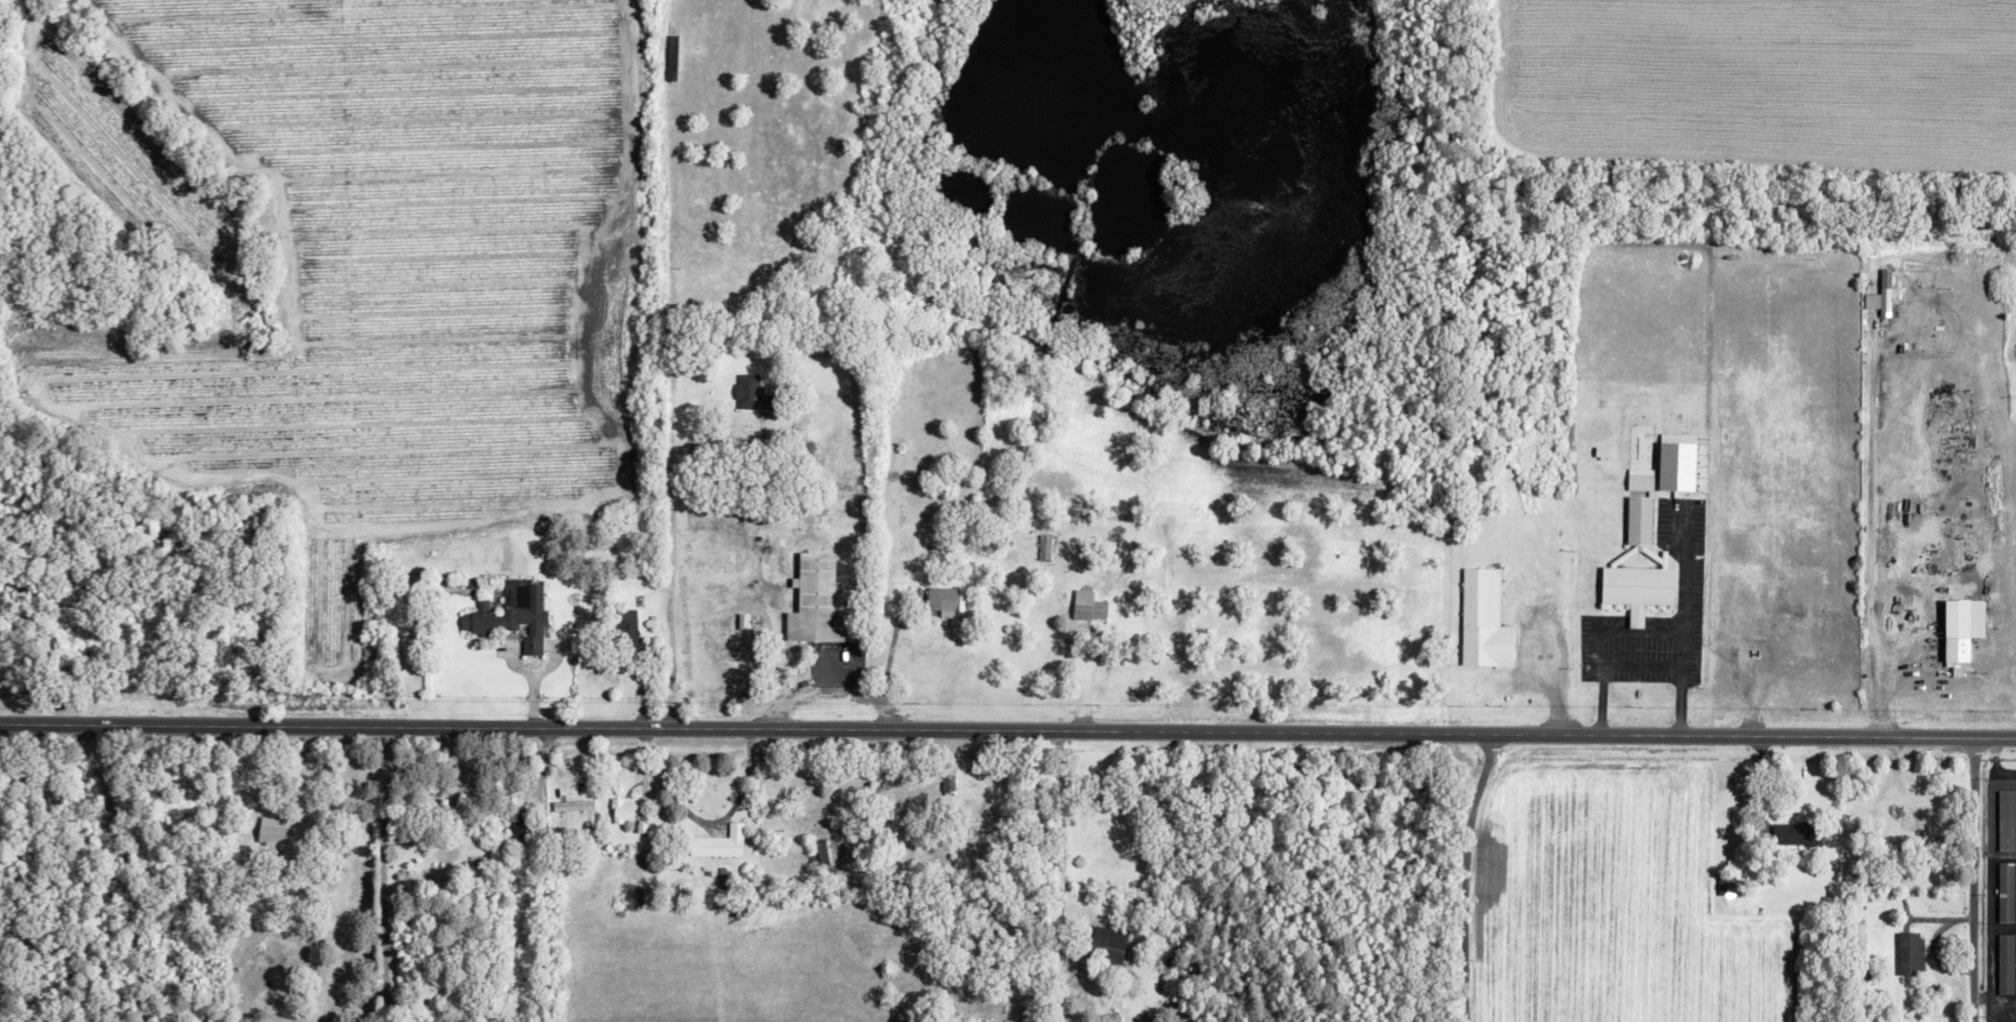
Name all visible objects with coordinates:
building: (1886, 299)
building: (751, 393)
building: (1603, 452)
building: (1678, 464)
building: (1641, 479)
building: (1640, 520)
building: (1638, 585)
building: (947, 600)
building: (816, 601)
road: (669, 604)
building: (1089, 605)
building: (511, 619)
building: (743, 620)
building: (1484, 620)
building: (628, 626)
building: (1959, 630)
road: (889, 650)
road: (1635, 663)
road: (828, 674)
road: (1881, 676)
building: (717, 694)
road: (525, 697)
road: (1007, 727)
road: (384, 802)
building: (573, 806)
building: (623, 809)
building: (2006, 820)
road: (705, 822)
building: (276, 831)
building: (1798, 834)
building: (720, 843)
building: (827, 852)
road: (1055, 860)
road: (125, 869)
road: (1459, 874)
road: (1966, 877)
building: (2006, 892)
building: (1111, 940)
building: (1912, 953)
building: (2006, 964)

